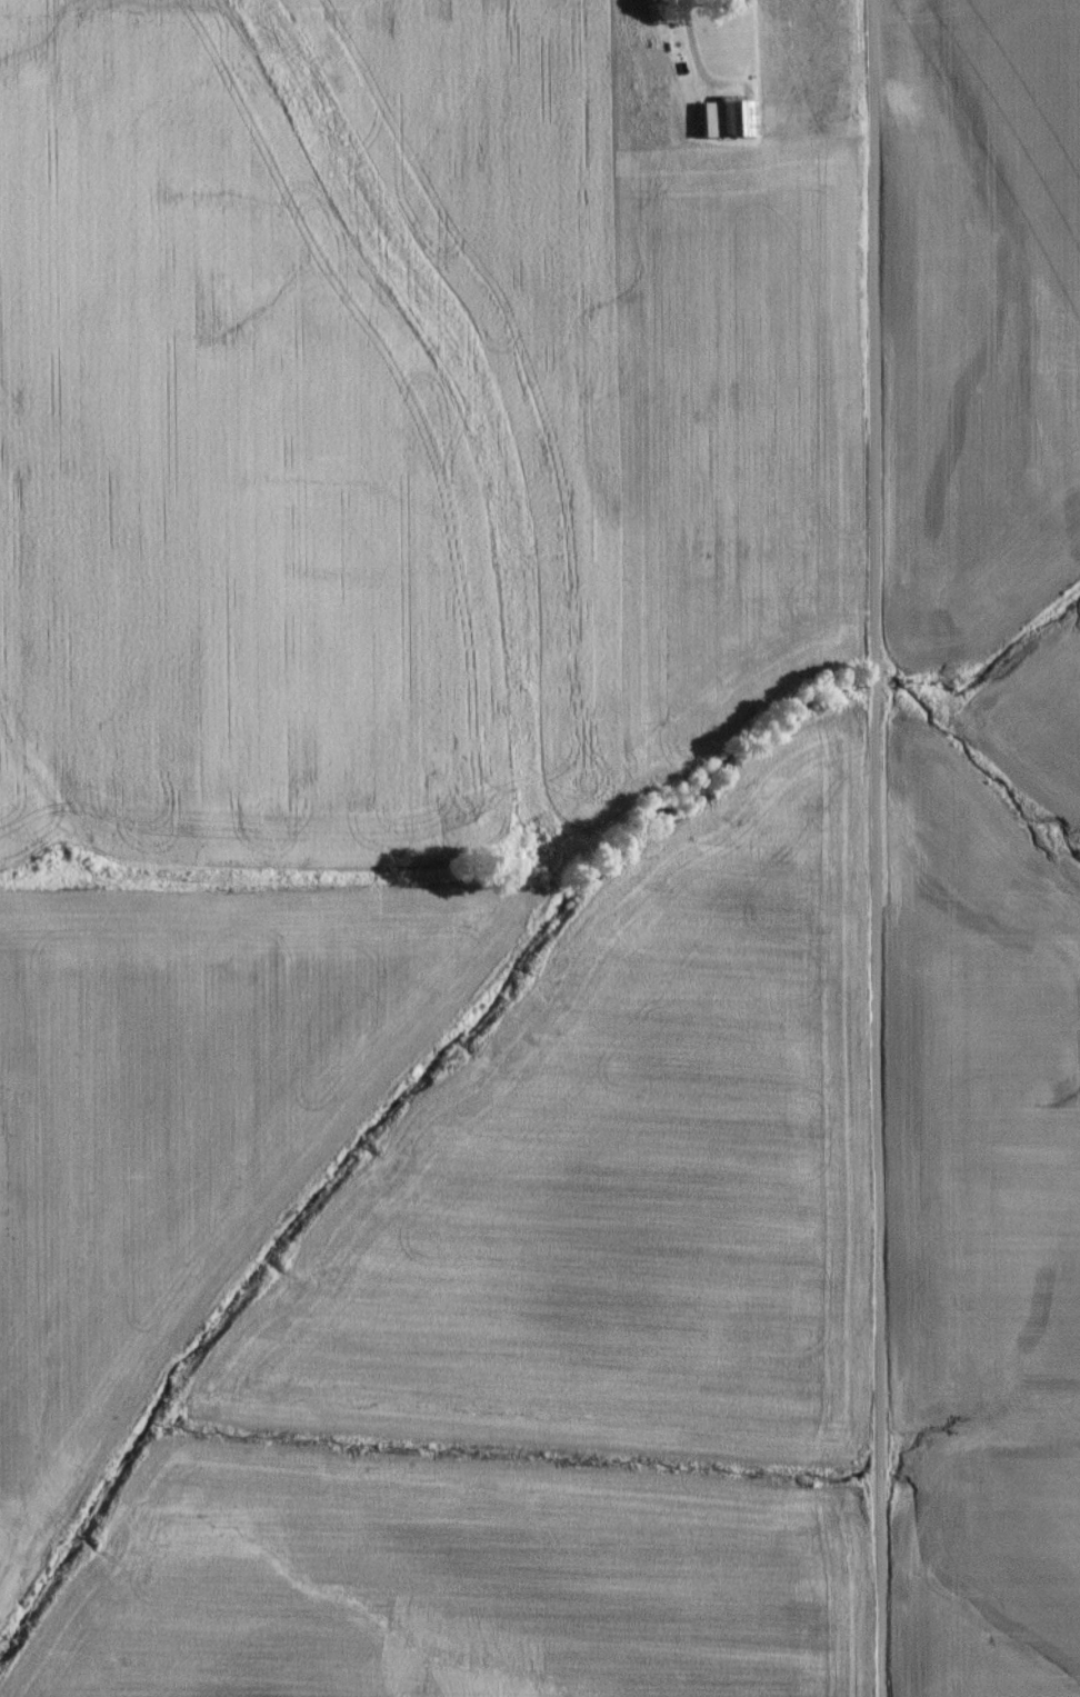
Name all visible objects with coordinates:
road: (878, 848)

